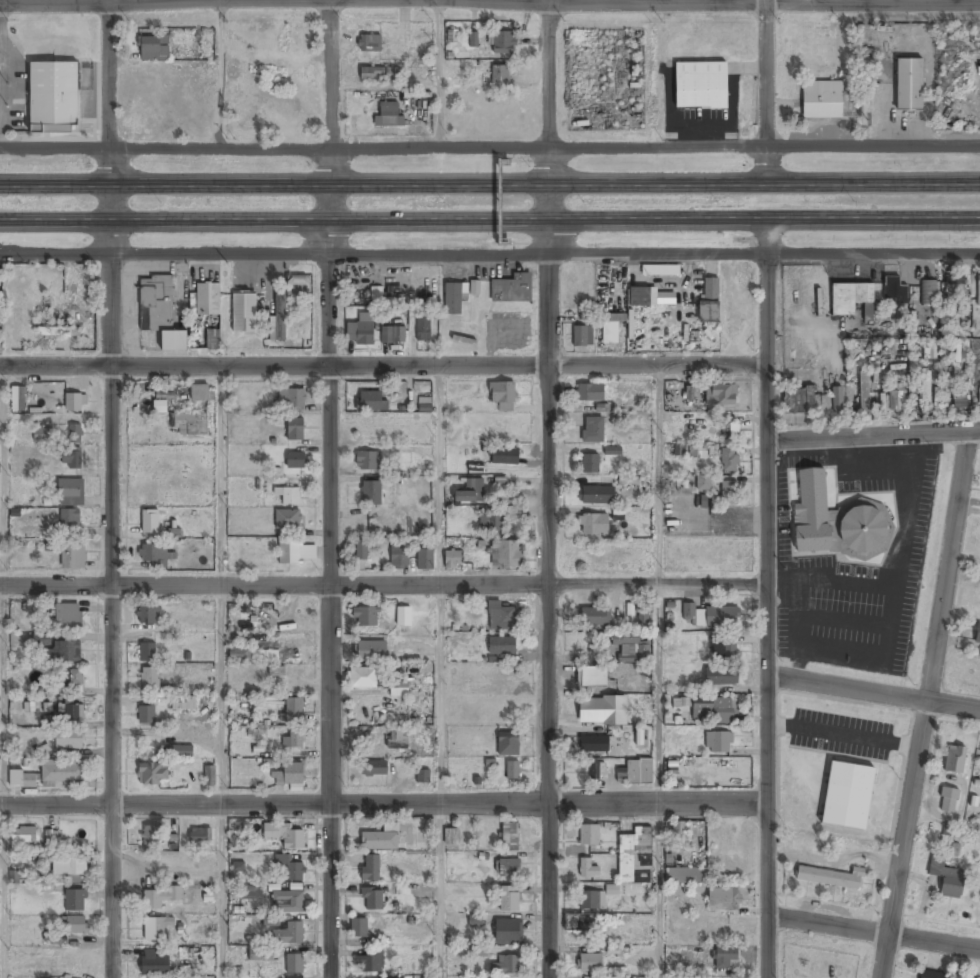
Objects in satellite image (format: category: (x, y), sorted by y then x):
road: (219, 1)
road: (489, 2)
road: (654, 2)
road: (1, 3)
building: (452, 35)
building: (282, 38)
building: (473, 39)
building: (503, 42)
building: (370, 43)
building: (152, 48)
building: (268, 73)
building: (379, 74)
building: (499, 75)
building: (701, 85)
building: (909, 86)
road: (764, 93)
building: (52, 98)
building: (822, 101)
building: (387, 116)
road: (490, 148)
road: (489, 186)
road: (489, 219)
road: (490, 256)
building: (296, 285)
building: (474, 287)
building: (954, 287)
building: (894, 289)
building: (512, 290)
building: (978, 291)
building: (928, 292)
building: (388, 294)
building: (642, 297)
building: (453, 299)
building: (851, 299)
building: (207, 300)
building: (710, 301)
building: (160, 311)
building: (244, 313)
building: (279, 317)
building: (16, 326)
building: (423, 328)
building: (611, 329)
building: (59, 332)
building: (359, 334)
building: (399, 335)
building: (582, 336)
building: (212, 340)
building: (463, 340)
road: (383, 365)
building: (925, 388)
building: (689, 392)
building: (863, 392)
building: (199, 393)
building: (590, 393)
building: (164, 395)
building: (503, 395)
building: (721, 395)
building: (895, 398)
building: (18, 399)
building: (836, 399)
building: (959, 399)
building: (798, 400)
building: (291, 401)
building: (370, 402)
building: (73, 403)
building: (425, 405)
building: (159, 406)
building: (189, 424)
building: (296, 429)
building: (593, 430)
building: (730, 430)
building: (42, 433)
building: (74, 434)
road: (874, 437)
building: (612, 450)
building: (690, 450)
building: (505, 456)
building: (72, 459)
building: (296, 460)
building: (729, 461)
building: (368, 462)
building: (589, 464)
road: (221, 475)
road: (440, 475)
road: (661, 475)
road: (2, 476)
building: (628, 480)
building: (703, 483)
road: (112, 488)
road: (330, 488)
road: (548, 488)
building: (70, 492)
building: (371, 493)
building: (470, 493)
building: (729, 493)
building: (289, 495)
building: (597, 495)
building: (69, 519)
building: (288, 519)
building: (834, 521)
building: (150, 522)
building: (491, 523)
building: (593, 525)
building: (49, 545)
building: (361, 551)
building: (289, 553)
building: (506, 553)
building: (154, 554)
building: (73, 555)
building: (400, 557)
building: (425, 559)
building: (453, 559)
road: (383, 586)
road: (766, 598)
building: (642, 612)
building: (148, 615)
building: (404, 616)
building: (501, 616)
building: (709, 616)
building: (68, 617)
building: (365, 617)
building: (595, 617)
building: (977, 633)
building: (41, 639)
building: (502, 647)
building: (628, 647)
building: (371, 650)
building: (723, 651)
building: (64, 652)
building: (147, 653)
building: (253, 655)
building: (276, 671)
building: (721, 677)
building: (149, 678)
building: (362, 678)
building: (592, 678)
building: (70, 681)
building: (399, 689)
road: (872, 693)
road: (660, 694)
road: (221, 695)
road: (441, 695)
road: (2, 696)
building: (183, 704)
building: (681, 705)
road: (925, 705)
building: (293, 707)
building: (712, 710)
building: (600, 711)
building: (69, 713)
building: (146, 715)
building: (68, 739)
building: (398, 739)
building: (510, 739)
building: (293, 740)
building: (718, 743)
building: (594, 745)
building: (179, 751)
building: (954, 758)
building: (373, 769)
building: (513, 771)
building: (62, 772)
building: (597, 772)
building: (639, 773)
building: (152, 774)
building: (209, 775)
building: (289, 775)
building: (423, 777)
building: (22, 780)
building: (847, 796)
building: (948, 799)
road: (382, 804)
building: (675, 833)
building: (150, 835)
building: (200, 836)
building: (284, 836)
building: (589, 836)
building: (50, 837)
building: (452, 837)
building: (510, 837)
building: (23, 838)
building: (381, 840)
building: (635, 857)
building: (290, 868)
building: (507, 868)
building: (69, 869)
building: (370, 869)
building: (588, 869)
building: (831, 876)
building: (686, 877)
building: (946, 877)
building: (13, 878)
building: (611, 889)
road: (660, 890)
road: (220, 891)
road: (441, 891)
road: (2, 892)
building: (160, 897)
building: (372, 900)
building: (509, 900)
building: (724, 900)
building: (75, 901)
building: (591, 901)
building: (287, 902)
building: (270, 920)
building: (475, 920)
building: (577, 923)
building: (77, 925)
building: (156, 928)
building: (359, 928)
building: (508, 931)
road: (873, 932)
building: (289, 934)
building: (478, 951)
building: (260, 953)
building: (725, 960)
building: (153, 964)
building: (295, 964)
building: (369, 964)
building: (590, 964)
building: (74, 966)
building: (506, 966)
building: (932, 974)
building: (594, 977)
building: (968, 977)

